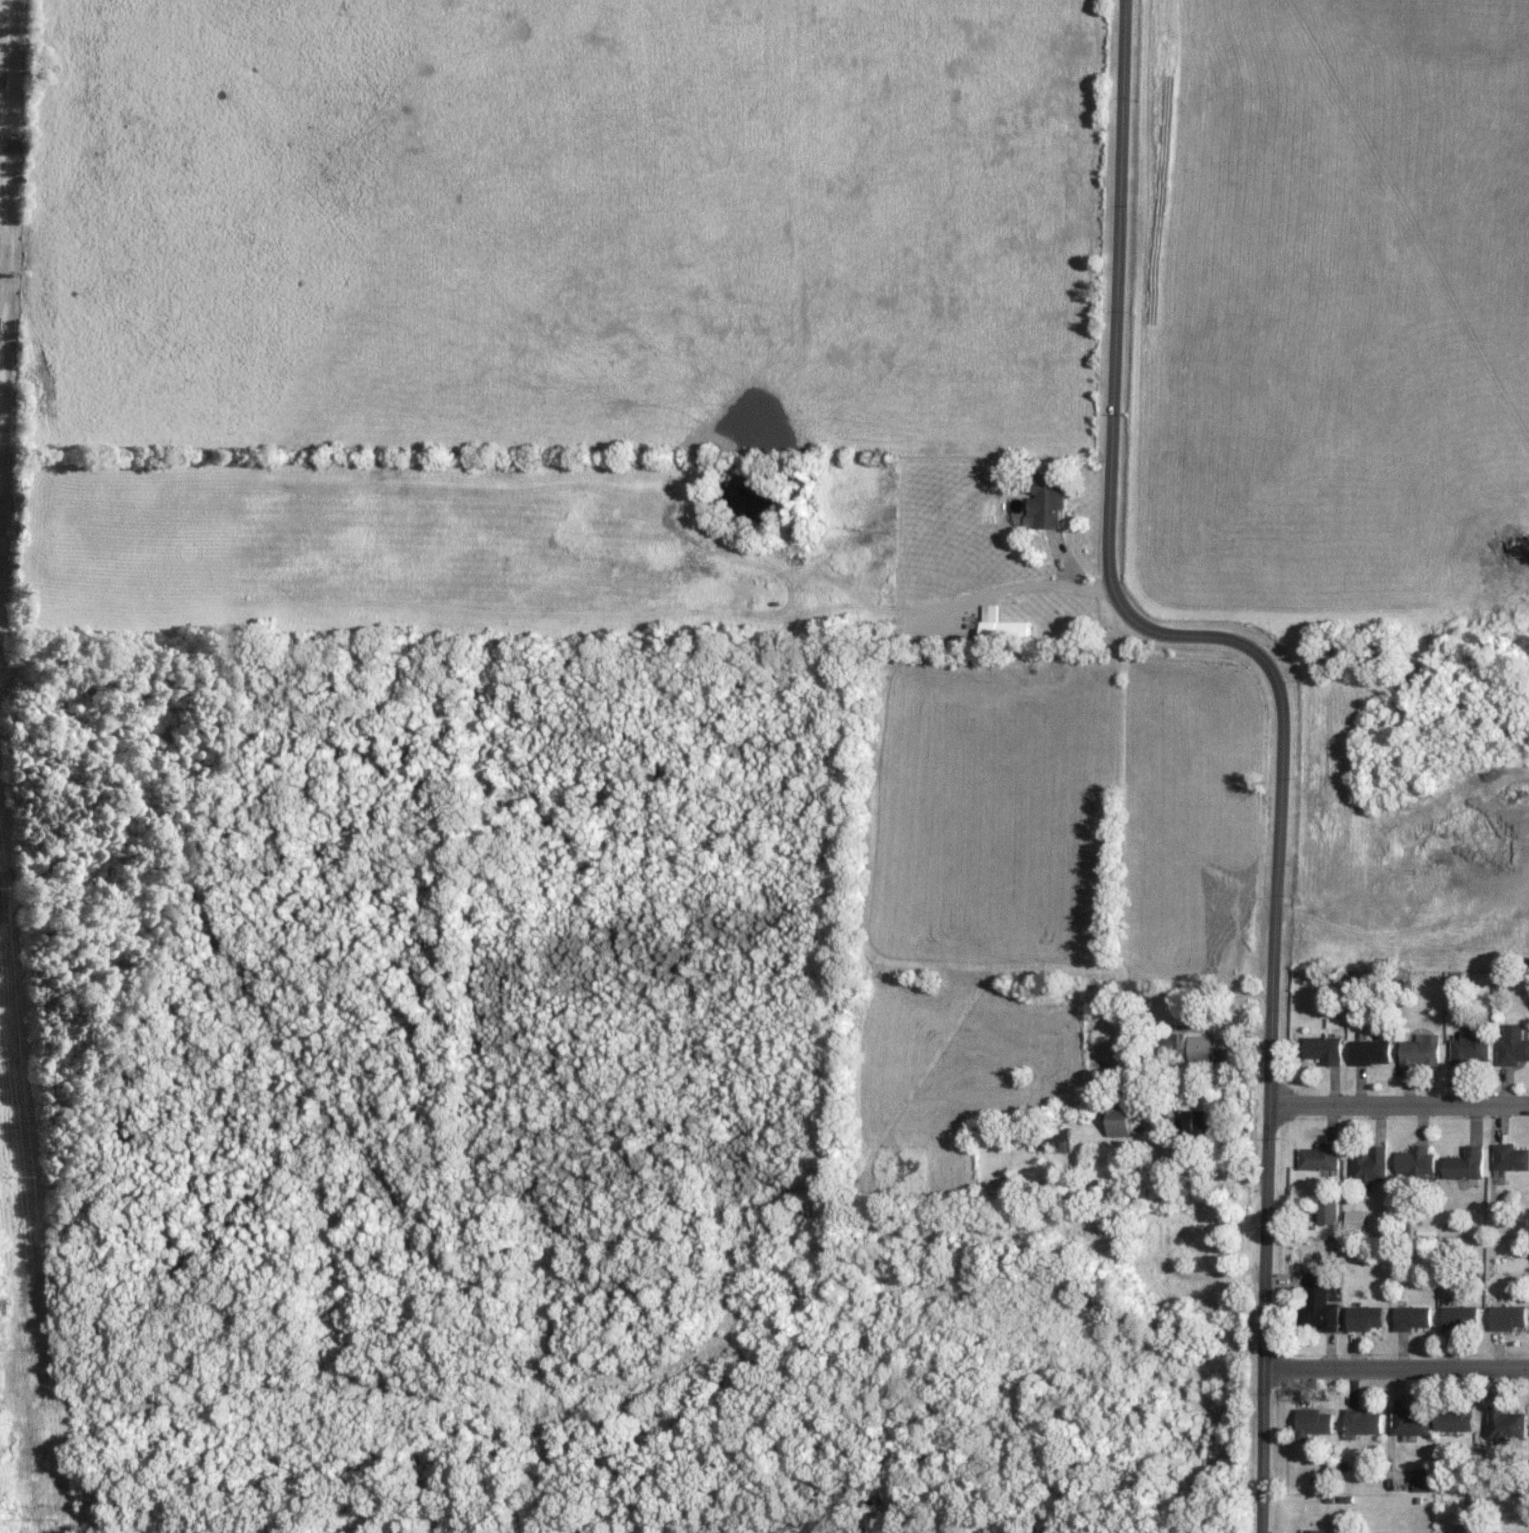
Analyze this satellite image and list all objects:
road: (4, 146)
road: (1116, 304)
building: (1046, 500)
building: (1001, 626)
road: (1190, 634)
building: (1175, 1043)
building: (1513, 1045)
building: (1472, 1046)
building: (1325, 1049)
building: (1205, 1050)
building: (1422, 1050)
building: (1372, 1051)
road: (1270, 1093)
road: (1399, 1104)
building: (1118, 1120)
building: (1191, 1122)
building: (1055, 1139)
building: (1321, 1156)
building: (1510, 1157)
building: (1416, 1161)
building: (1466, 1163)
building: (1371, 1167)
building: (1329, 1209)
building: (1357, 1219)
building: (1319, 1303)
building: (1366, 1317)
building: (1414, 1317)
building: (1510, 1317)
building: (1463, 1318)
road: (1397, 1368)
building: (1456, 1420)
building: (1313, 1422)
building: (1363, 1422)
building: (1413, 1422)
building: (1508, 1425)
building: (1423, 1479)
building: (1313, 1531)

